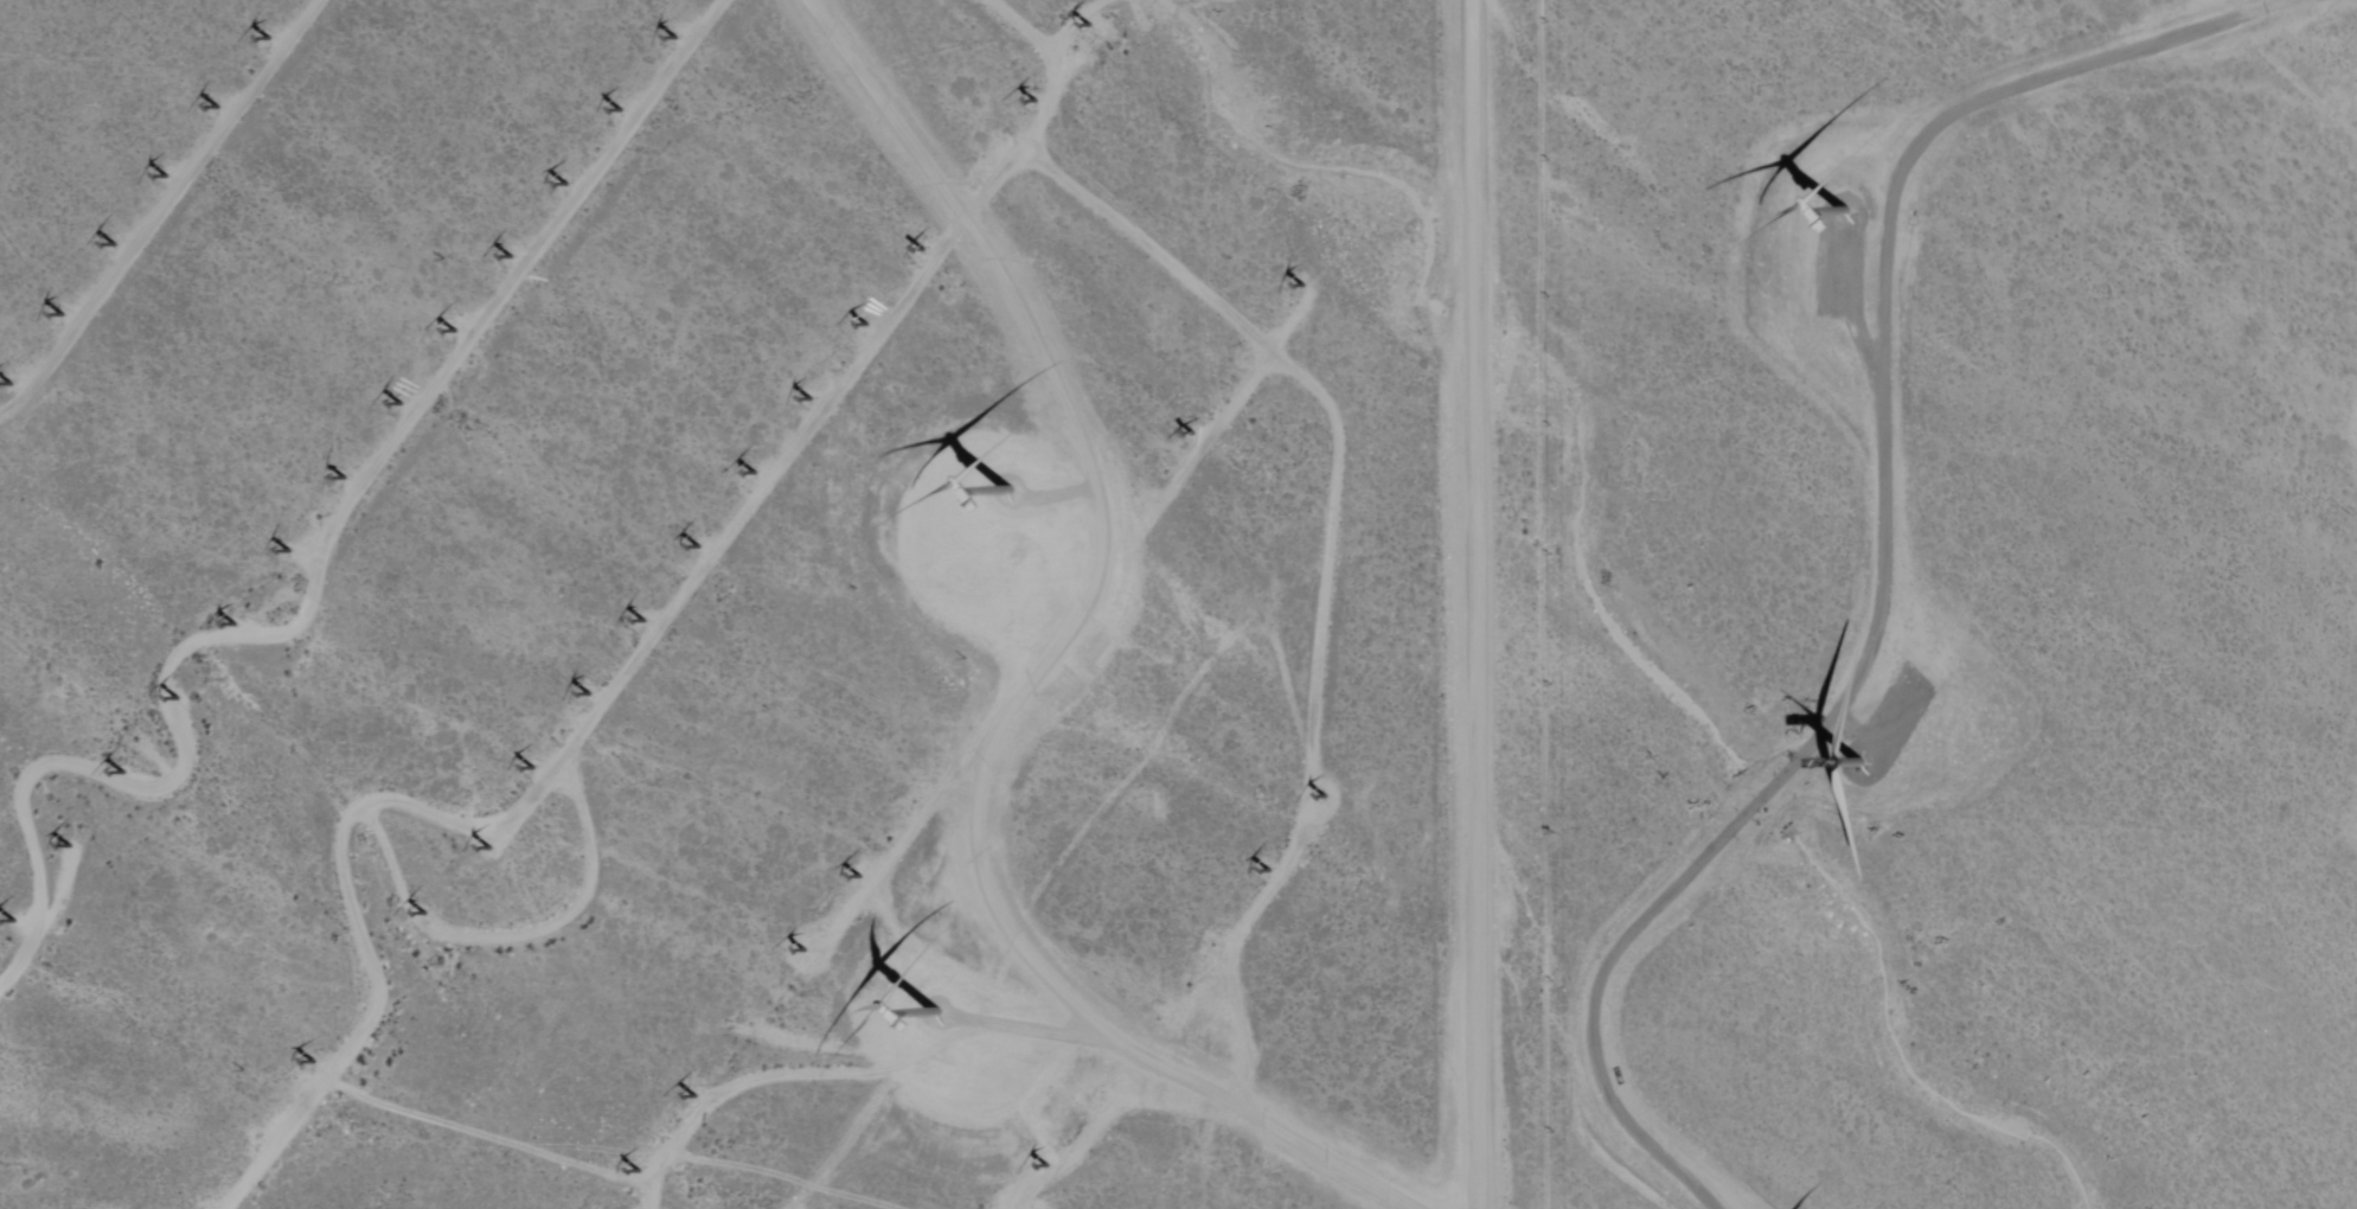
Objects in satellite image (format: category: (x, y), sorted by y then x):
wind turbine: (1078, 27)
wind turbine: (675, 38)
wind turbine: (270, 39)
wind turbine: (1031, 103)
wind turbine: (218, 108)
wind turbine: (622, 110)
wind turbine: (169, 177)
wind turbine: (980, 177)
wind turbine: (572, 185)
road: (159, 213)
wind turbine: (1839, 219)
wind turbine: (114, 247)
wind turbine: (922, 248)
wind turbine: (513, 256)
wind turbine: (1300, 286)
wind turbine: (63, 315)
wind turbine: (865, 324)
wind turbine: (455, 332)
wind turbine: (1243, 359)
wind turbine: (11, 383)
wind turbine: (809, 398)
wind turbine: (402, 403)
wind turbine: (1184, 434)
wind turbine: (755, 472)
wind turbine: (344, 478)
wind turbine: (1016, 497)
wind turbine: (1134, 507)
wind turbine: (698, 546)
wind turbine: (286, 551)
road: (315, 577)
wind turbine: (1081, 580)
road: (1487, 604)
wind turbine: (643, 621)
wind turbine: (231, 626)
road: (642, 655)
wind turbine: (1026, 655)
road: (1312, 684)
wind turbine: (590, 695)
wind turbine: (177, 701)
wind turbine: (960, 729)
wind turbine: (532, 769)
wind turbine: (126, 773)
wind turbine: (1849, 774)
wind turbine: (1325, 798)
wind turbine: (909, 802)
road: (936, 804)
wind turbine: (73, 846)
wind turbine: (489, 849)
wind turbine: (1272, 871)
wind turbine: (858, 878)
wind turbine: (434, 911)
wind turbine: (15, 920)
wind turbine: (1213, 946)
wind turbine: (805, 948)
wind turbine: (367, 987)
wind turbine: (1155, 1018)
wind turbine: (940, 1022)
wind turbine: (756, 1024)
wind turbine: (313, 1063)
wind turbine: (1101, 1093)
wind turbine: (699, 1098)
wind turbine: (257, 1136)
wind turbine: (1050, 1165)
wind turbine: (640, 1172)

